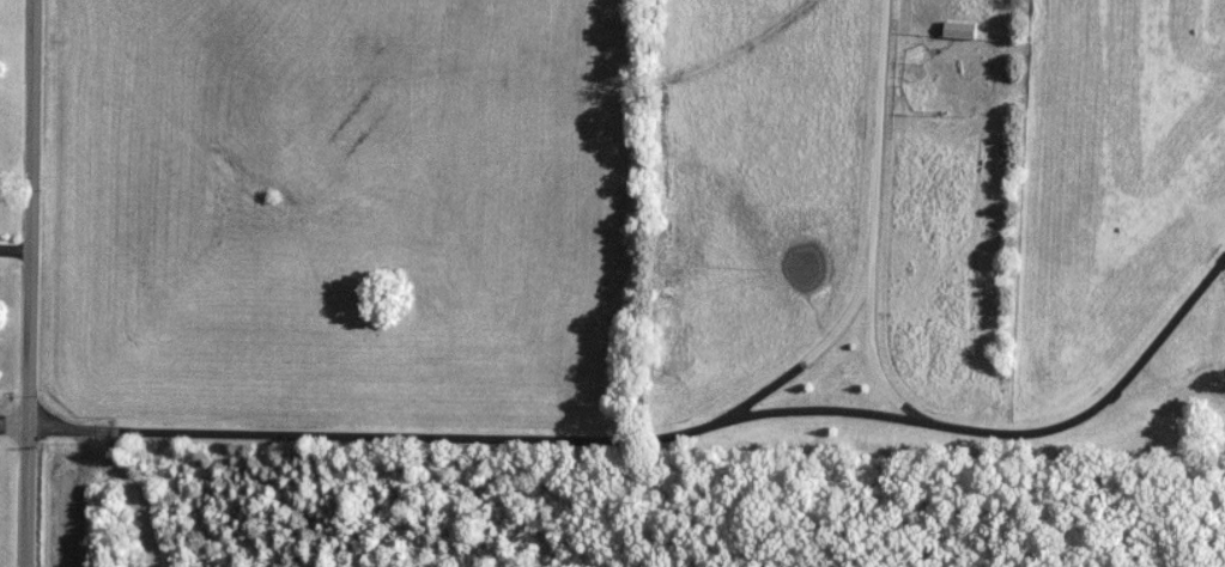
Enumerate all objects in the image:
road: (873, 135)
road: (16, 248)
road: (30, 282)
road: (855, 289)
road: (14, 423)
road: (668, 433)

